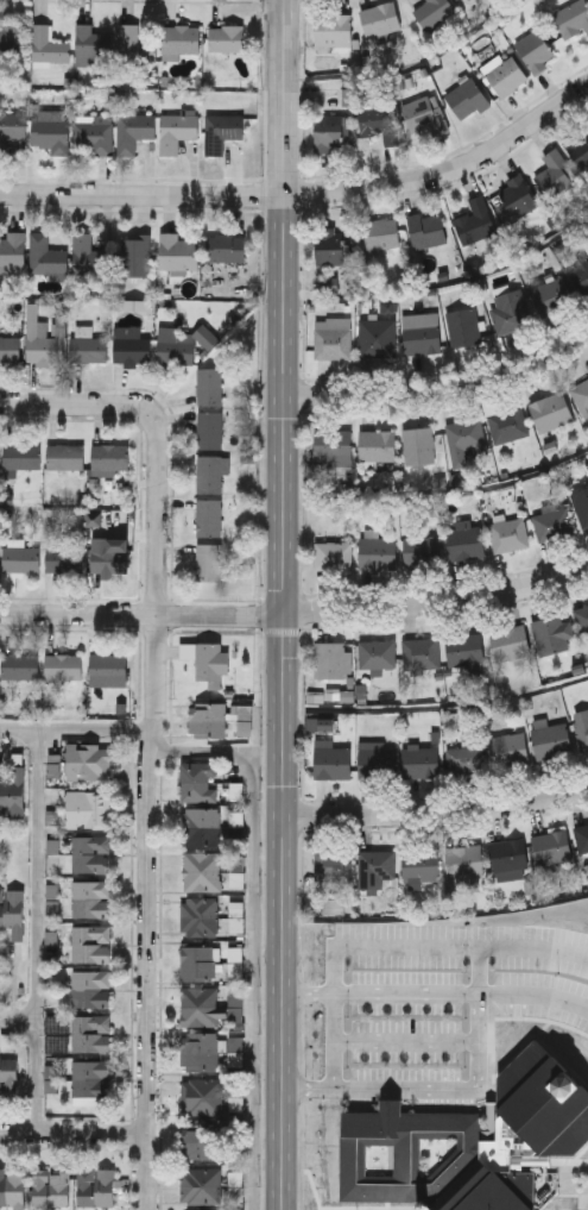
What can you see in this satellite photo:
building: (460, 0)
building: (432, 11)
building: (571, 15)
building: (379, 17)
building: (331, 29)
building: (13, 37)
building: (226, 37)
building: (182, 40)
building: (93, 43)
building: (45, 44)
building: (134, 44)
building: (535, 48)
building: (504, 74)
building: (327, 95)
building: (466, 95)
building: (423, 112)
building: (379, 120)
building: (12, 126)
building: (225, 127)
building: (328, 127)
building: (134, 130)
building: (177, 130)
building: (51, 134)
building: (93, 136)
building: (578, 145)
building: (554, 171)
road: (448, 173)
road: (143, 192)
building: (516, 195)
building: (473, 219)
building: (425, 227)
building: (380, 233)
building: (328, 244)
building: (229, 250)
building: (13, 252)
building: (89, 255)
building: (178, 255)
building: (135, 256)
building: (46, 258)
building: (578, 270)
building: (330, 284)
building: (550, 291)
building: (134, 305)
building: (508, 309)
building: (461, 325)
building: (59, 326)
building: (421, 330)
building: (331, 334)
building: (375, 334)
building: (39, 338)
building: (8, 347)
building: (88, 347)
building: (173, 349)
building: (132, 351)
building: (209, 383)
road: (442, 390)
building: (580, 394)
building: (550, 409)
building: (506, 424)
building: (209, 427)
building: (464, 437)
building: (374, 443)
building: (416, 443)
building: (333, 446)
building: (21, 458)
building: (67, 458)
building: (109, 458)
building: (210, 470)
building: (7, 497)
building: (580, 502)
building: (208, 515)
building: (94, 519)
building: (551, 520)
building: (506, 532)
building: (463, 540)
building: (421, 547)
building: (377, 551)
building: (330, 553)
building: (21, 560)
building: (65, 560)
building: (208, 560)
building: (110, 562)
road: (438, 602)
road: (286, 604)
road: (143, 613)
building: (581, 619)
building: (548, 633)
building: (508, 640)
building: (463, 647)
building: (419, 650)
building: (375, 652)
building: (331, 657)
building: (209, 666)
building: (20, 667)
building: (64, 669)
building: (109, 672)
building: (347, 696)
road: (437, 706)
building: (209, 720)
building: (321, 725)
road: (18, 726)
building: (246, 731)
building: (581, 731)
road: (156, 732)
building: (550, 738)
building: (508, 745)
road: (219, 750)
building: (330, 757)
building: (375, 757)
building: (419, 758)
building: (463, 758)
building: (89, 763)
building: (198, 783)
building: (13, 795)
building: (89, 810)
road: (437, 810)
road: (37, 827)
building: (202, 828)
building: (581, 834)
building: (550, 845)
building: (91, 855)
building: (506, 857)
building: (331, 863)
building: (463, 864)
building: (418, 865)
building: (373, 866)
building: (202, 872)
building: (91, 901)
building: (334, 905)
building: (12, 916)
building: (200, 917)
building: (91, 946)
road: (437, 946)
building: (235, 961)
building: (200, 965)
road: (478, 968)
building: (91, 990)
road: (306, 992)
road: (405, 992)
road: (533, 995)
building: (200, 1008)
building: (91, 1035)
road: (405, 1040)
road: (331, 1041)
building: (200, 1053)
road: (36, 1072)
building: (8, 1077)
building: (51, 1079)
building: (91, 1080)
road: (426, 1090)
building: (203, 1097)
road: (75, 1134)
building: (468, 1141)
building: (200, 1143)
building: (236, 1186)
building: (201, 1187)
building: (12, 1189)
building: (51, 1190)
building: (96, 1190)

